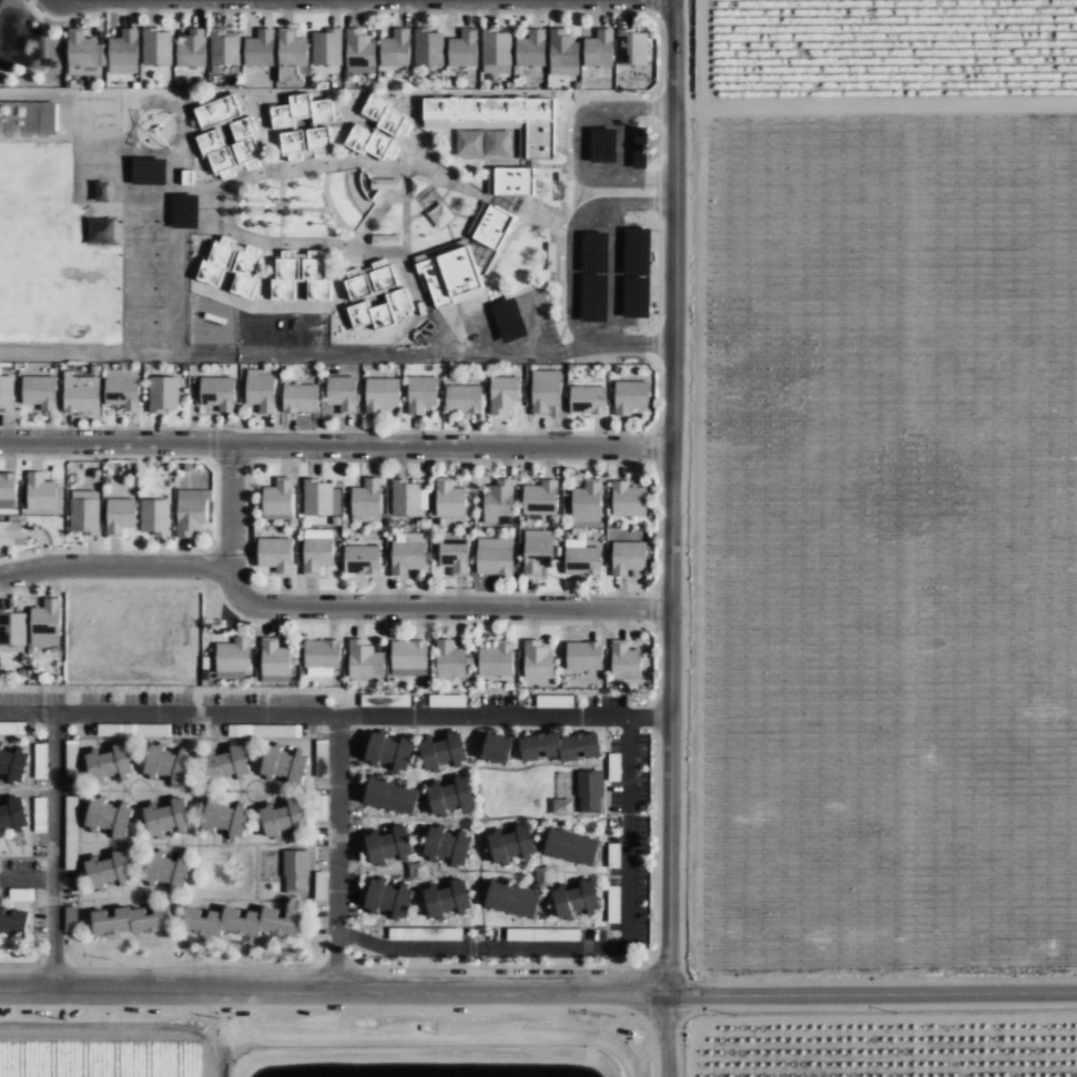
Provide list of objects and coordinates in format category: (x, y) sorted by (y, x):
building: (156, 47)
building: (428, 47)
building: (632, 47)
building: (292, 48)
building: (327, 48)
building: (192, 49)
building: (260, 49)
building: (396, 49)
building: (464, 49)
building: (531, 49)
building: (599, 49)
building: (225, 51)
building: (359, 51)
building: (496, 51)
building: (123, 52)
building: (562, 52)
building: (81, 53)
road: (873, 103)
road: (646, 106)
building: (301, 111)
building: (217, 112)
building: (19, 118)
building: (48, 119)
building: (502, 119)
building: (154, 130)
building: (379, 131)
building: (318, 138)
building: (292, 142)
building: (482, 143)
road: (620, 143)
road: (578, 167)
building: (510, 181)
building: (385, 184)
building: (490, 225)
building: (104, 231)
building: (386, 240)
building: (232, 266)
road: (612, 273)
building: (449, 274)
road: (571, 274)
building: (301, 276)
building: (370, 280)
building: (380, 311)
building: (122, 388)
building: (261, 389)
building: (39, 390)
building: (7, 392)
building: (217, 392)
building: (81, 393)
building: (163, 393)
building: (342, 393)
building: (380, 393)
building: (421, 393)
building: (545, 393)
building: (504, 394)
building: (631, 396)
building: (301, 397)
building: (463, 398)
building: (588, 399)
road: (333, 445)
building: (8, 490)
building: (40, 491)
building: (540, 497)
building: (277, 498)
building: (321, 498)
building: (407, 498)
building: (449, 498)
building: (498, 499)
building: (628, 499)
building: (366, 500)
building: (587, 504)
road: (228, 505)
building: (84, 511)
building: (190, 511)
building: (120, 516)
building: (155, 516)
building: (10, 532)
road: (667, 538)
building: (316, 549)
building: (537, 551)
building: (453, 552)
building: (275, 553)
building: (408, 553)
building: (495, 556)
building: (628, 557)
building: (362, 558)
building: (581, 558)
road: (321, 603)
building: (45, 622)
building: (12, 627)
building: (234, 651)
building: (583, 656)
building: (322, 657)
building: (408, 658)
building: (362, 659)
building: (449, 659)
building: (496, 659)
building: (537, 659)
building: (624, 660)
building: (275, 661)
building: (230, 674)
building: (398, 700)
building: (447, 701)
building: (553, 701)
road: (333, 714)
building: (133, 730)
building: (261, 730)
building: (560, 745)
building: (322, 748)
building: (497, 748)
building: (443, 751)
building: (388, 752)
building: (225, 762)
building: (12, 763)
building: (109, 763)
building: (166, 763)
building: (283, 764)
building: (590, 791)
building: (390, 795)
building: (450, 795)
building: (322, 807)
building: (12, 814)
building: (108, 816)
building: (166, 817)
building: (225, 819)
building: (283, 819)
building: (511, 843)
building: (388, 845)
building: (447, 845)
building: (571, 845)
road: (54, 850)
road: (336, 852)
building: (165, 870)
building: (108, 871)
building: (296, 872)
building: (321, 885)
building: (22, 894)
building: (388, 898)
building: (446, 898)
building: (512, 898)
building: (576, 898)
building: (70, 915)
building: (130, 919)
building: (12, 921)
building: (241, 922)
building: (556, 934)
road: (538, 992)
road: (631, 1024)
road: (104, 1038)
road: (430, 1038)
crop: (326, 1046)
road: (209, 1058)

